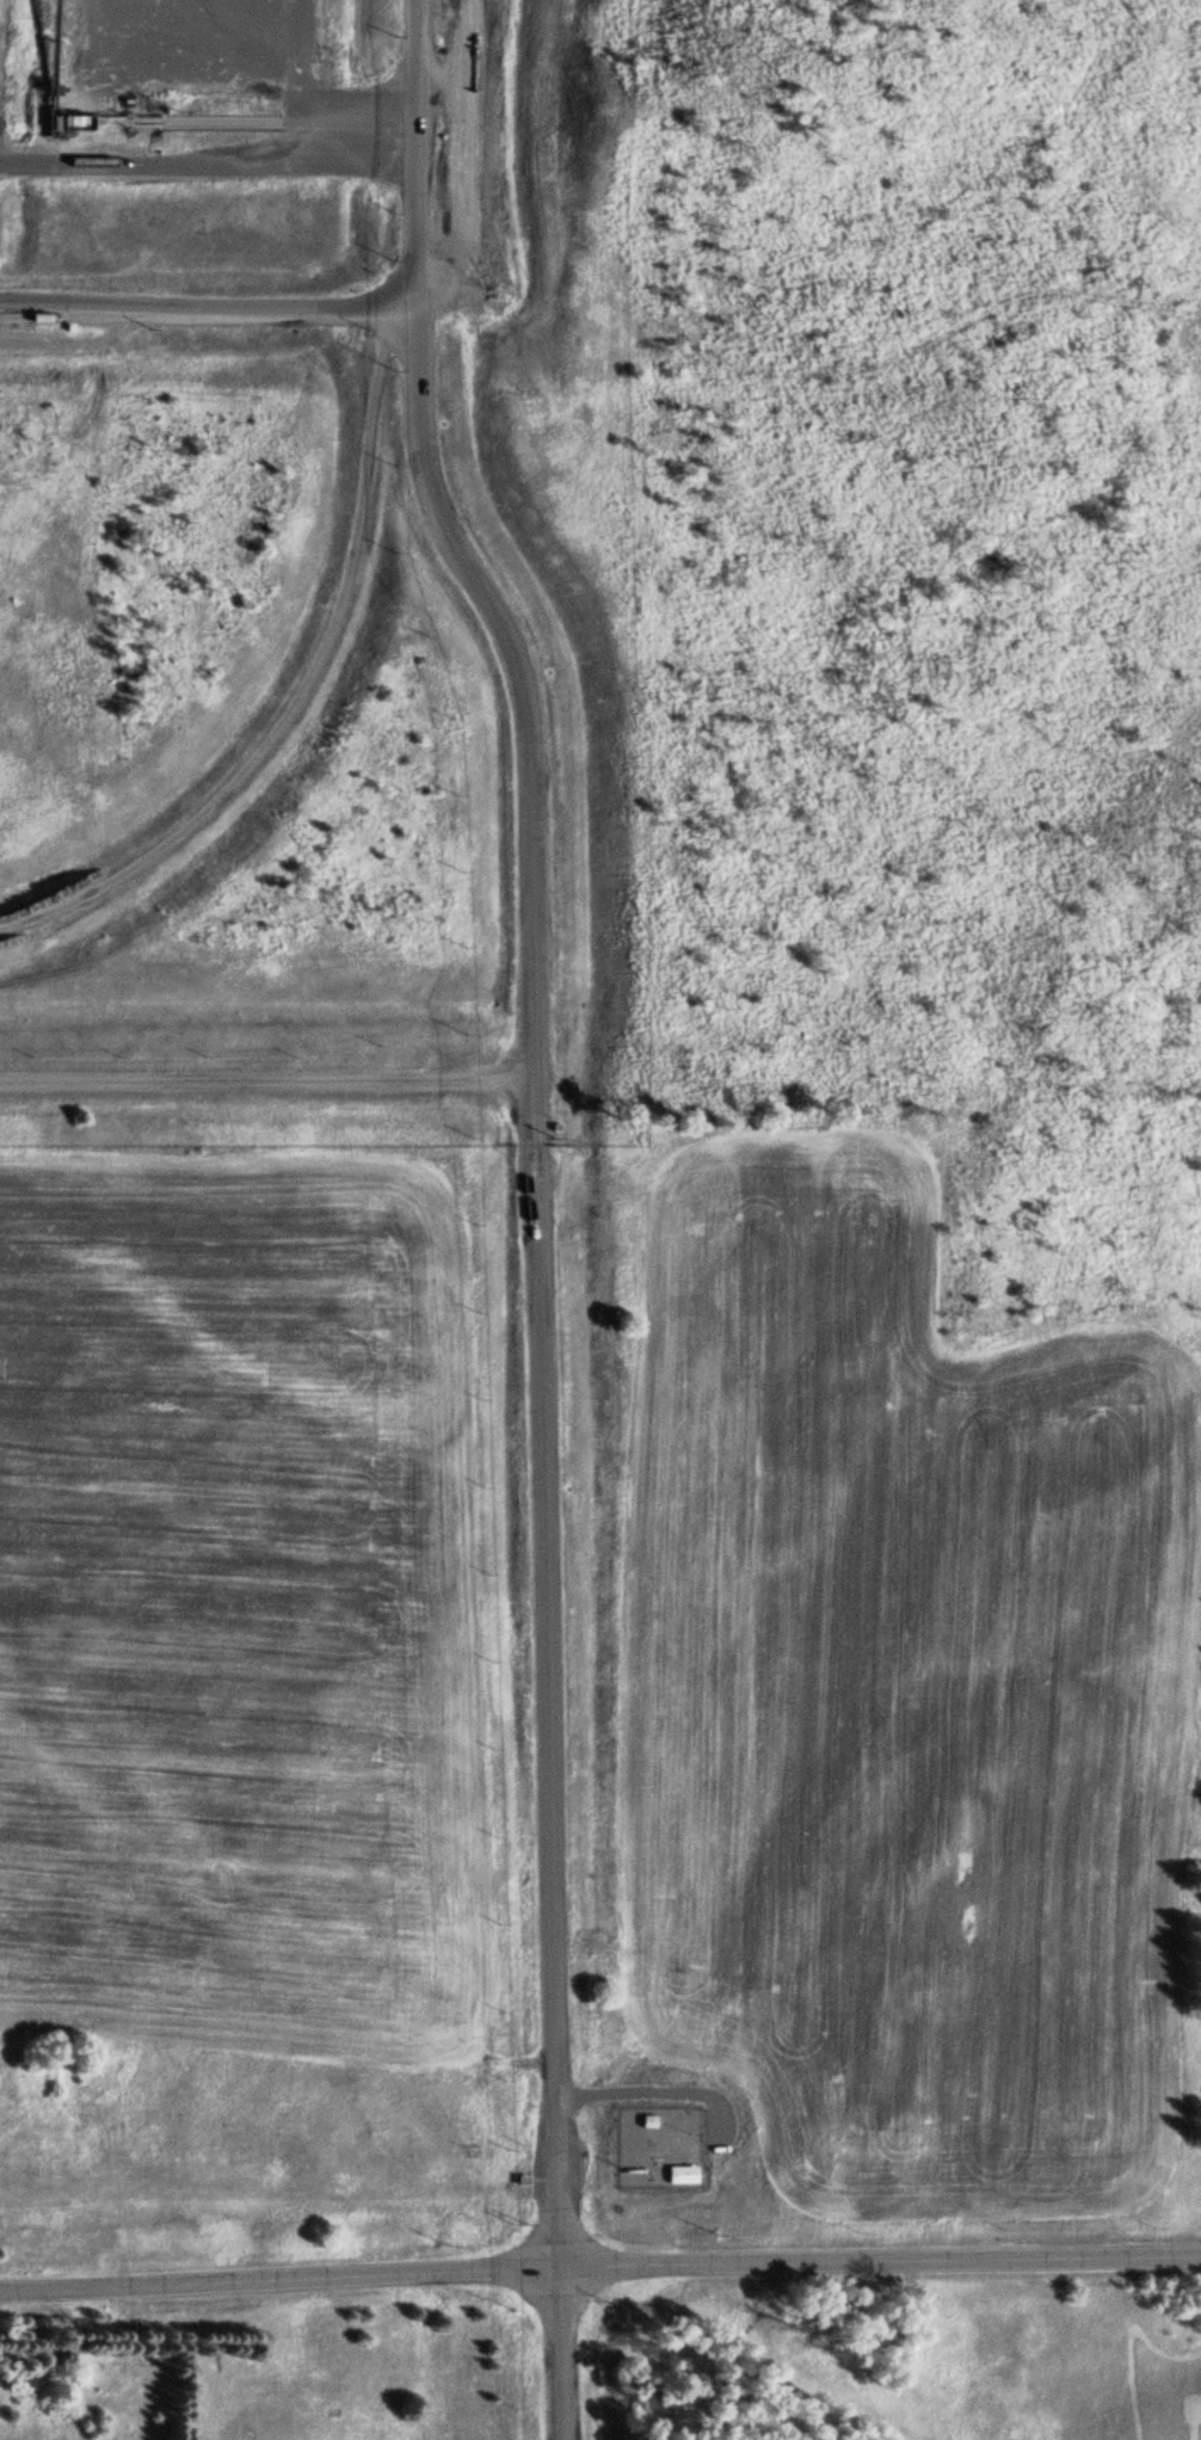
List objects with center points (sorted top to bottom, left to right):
road: (210, 307)
road: (304, 685)
road: (266, 1079)
road: (532, 1122)
building: (645, 2124)
building: (682, 2176)
road: (599, 2267)
road: (565, 2354)

